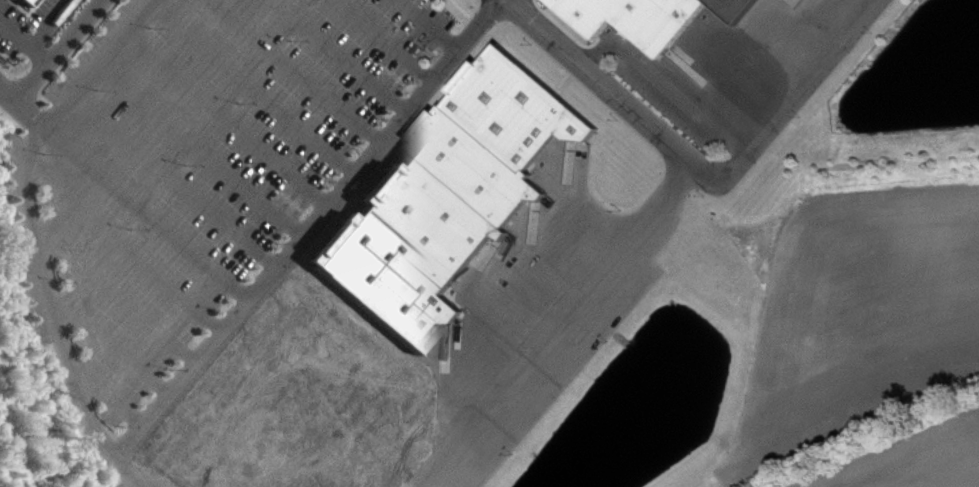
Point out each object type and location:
building: (734, 8)
road: (474, 18)
building: (635, 18)
road: (431, 24)
road: (383, 42)
road: (56, 51)
road: (338, 56)
road: (98, 64)
road: (311, 86)
road: (609, 89)
road: (790, 94)
building: (517, 107)
road: (285, 116)
road: (156, 128)
road: (258, 148)
parking lot: (198, 154)
building: (475, 165)
road: (231, 180)
building: (427, 215)
road: (309, 228)
road: (41, 266)
building: (368, 283)
road: (581, 329)
road: (129, 471)

